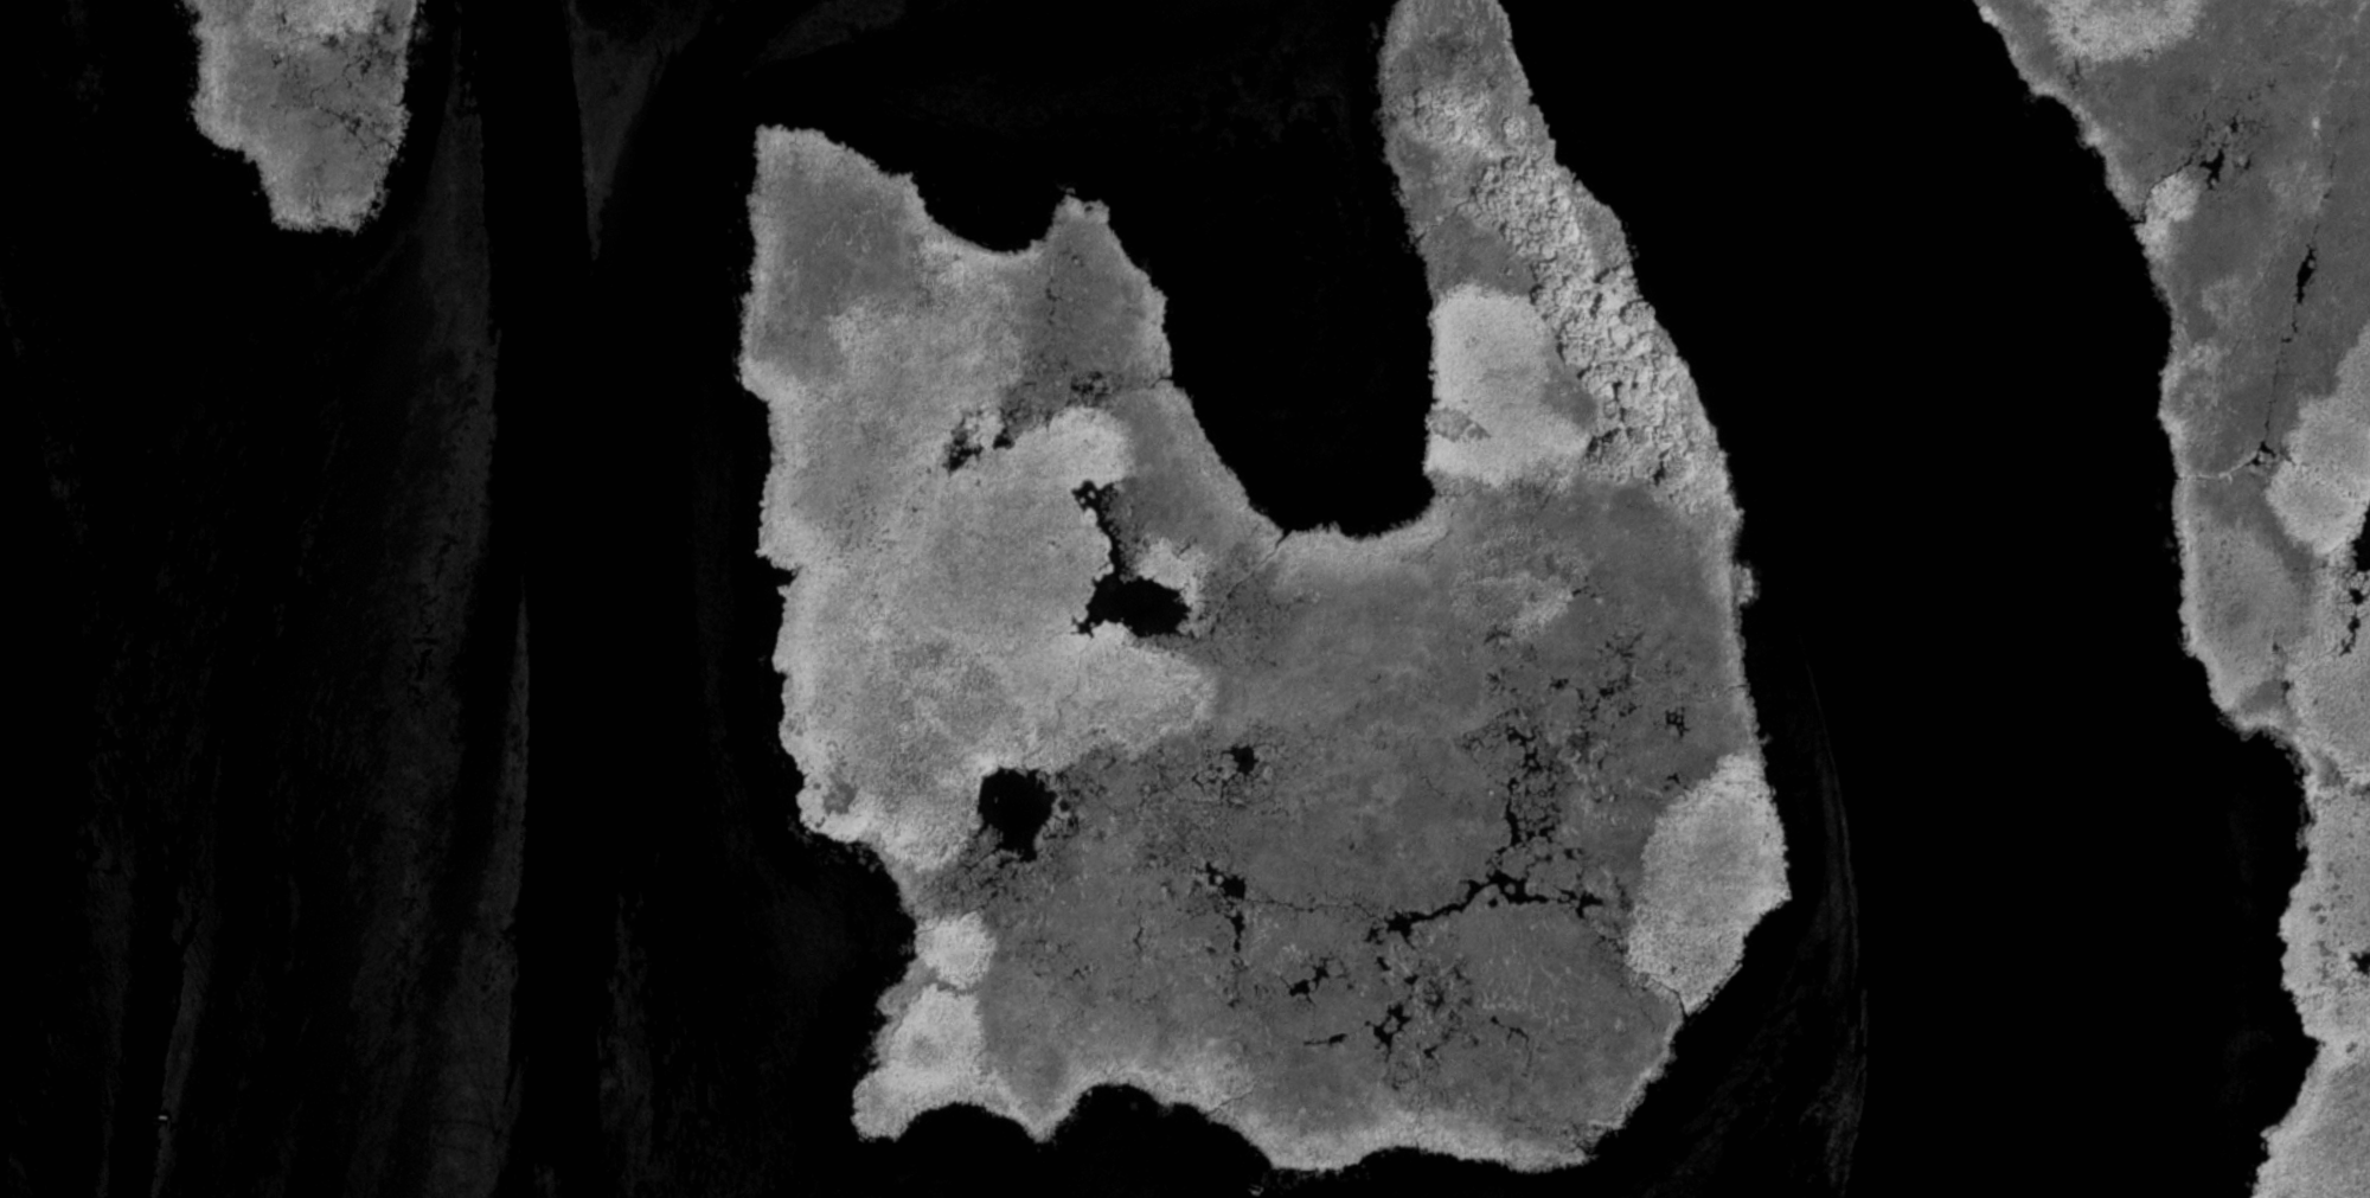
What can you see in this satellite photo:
river: (1889, 597)

